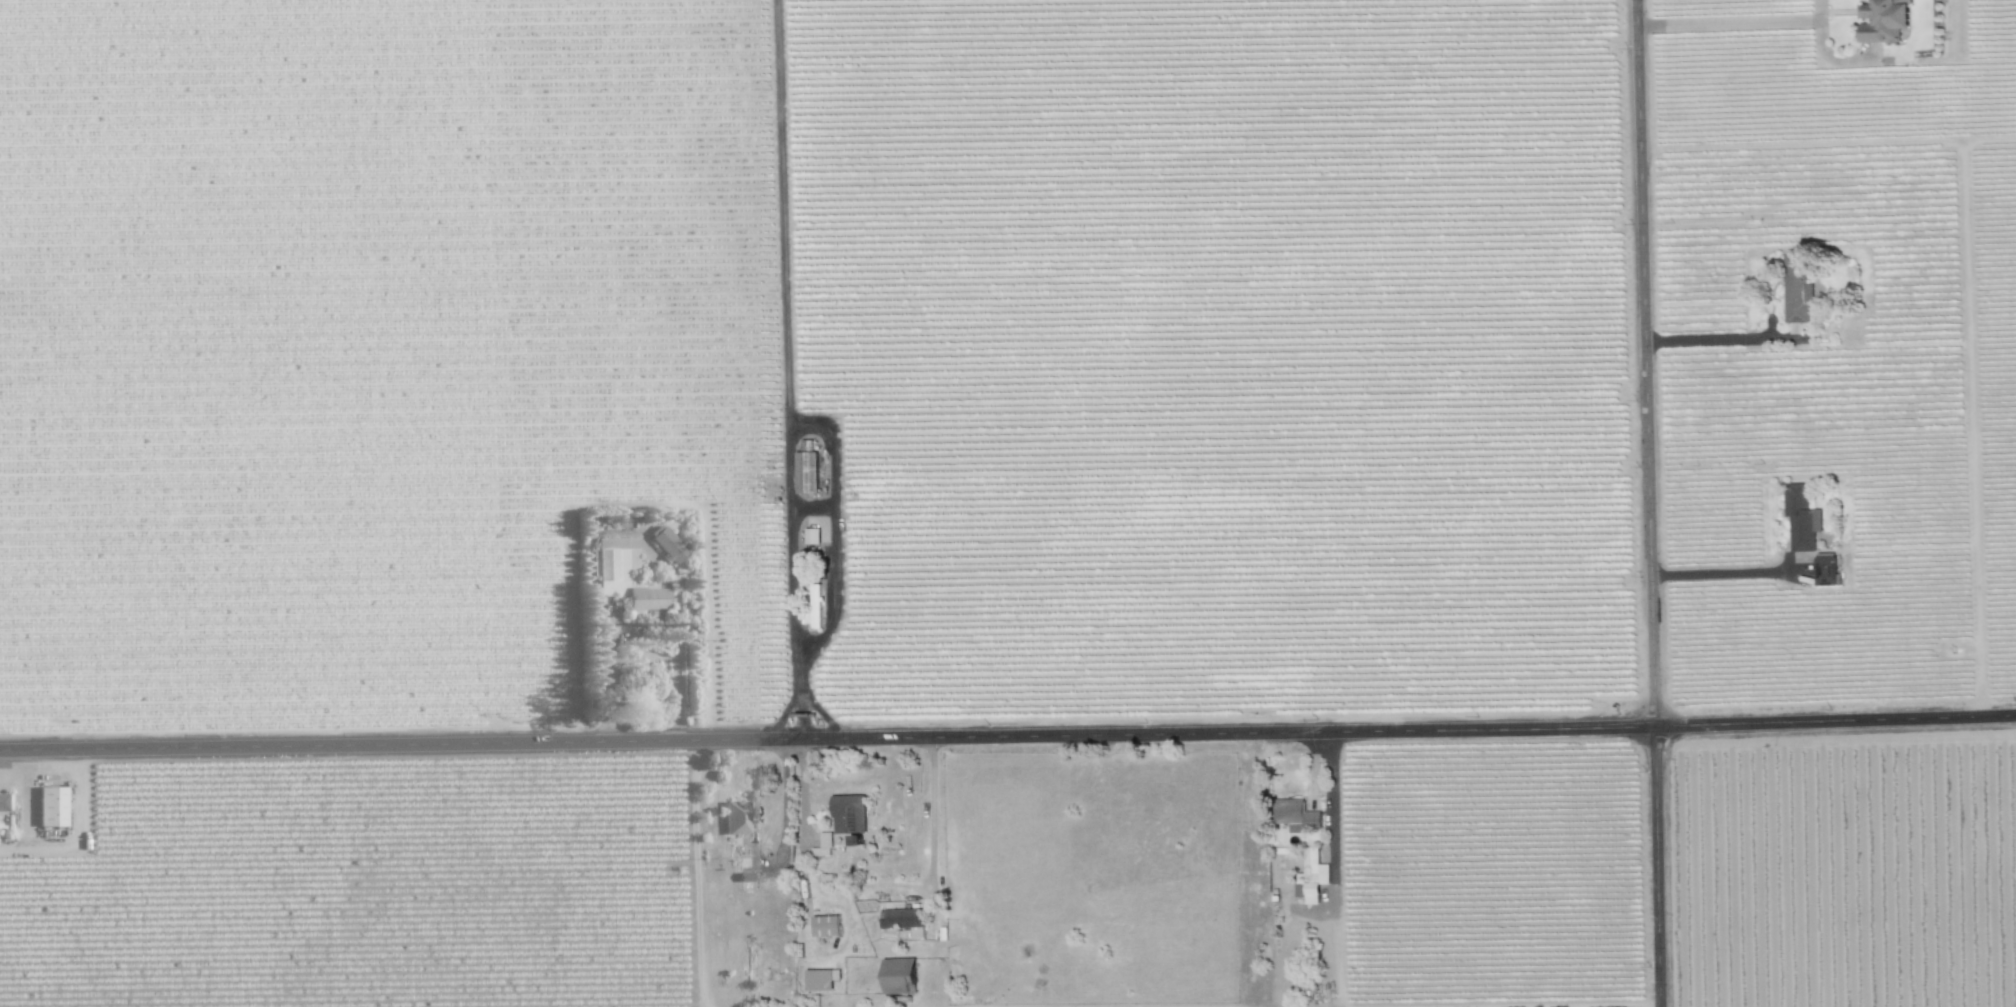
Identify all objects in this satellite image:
building: (1884, 20)
road: (1731, 22)
building: (1795, 289)
road: (1711, 339)
building: (806, 471)
road: (1652, 503)
building: (1800, 516)
road: (618, 533)
building: (811, 535)
building: (667, 543)
road: (1724, 571)
building: (623, 574)
building: (814, 607)
road: (794, 638)
road: (1008, 736)
building: (5, 800)
road: (1329, 804)
building: (51, 806)
building: (848, 813)
building: (1297, 815)
building: (735, 817)
road: (783, 819)
road: (931, 820)
road: (81, 835)
building: (822, 845)
building: (1311, 876)
building: (825, 925)
building: (897, 975)
building: (820, 978)
road: (1567, 1006)

